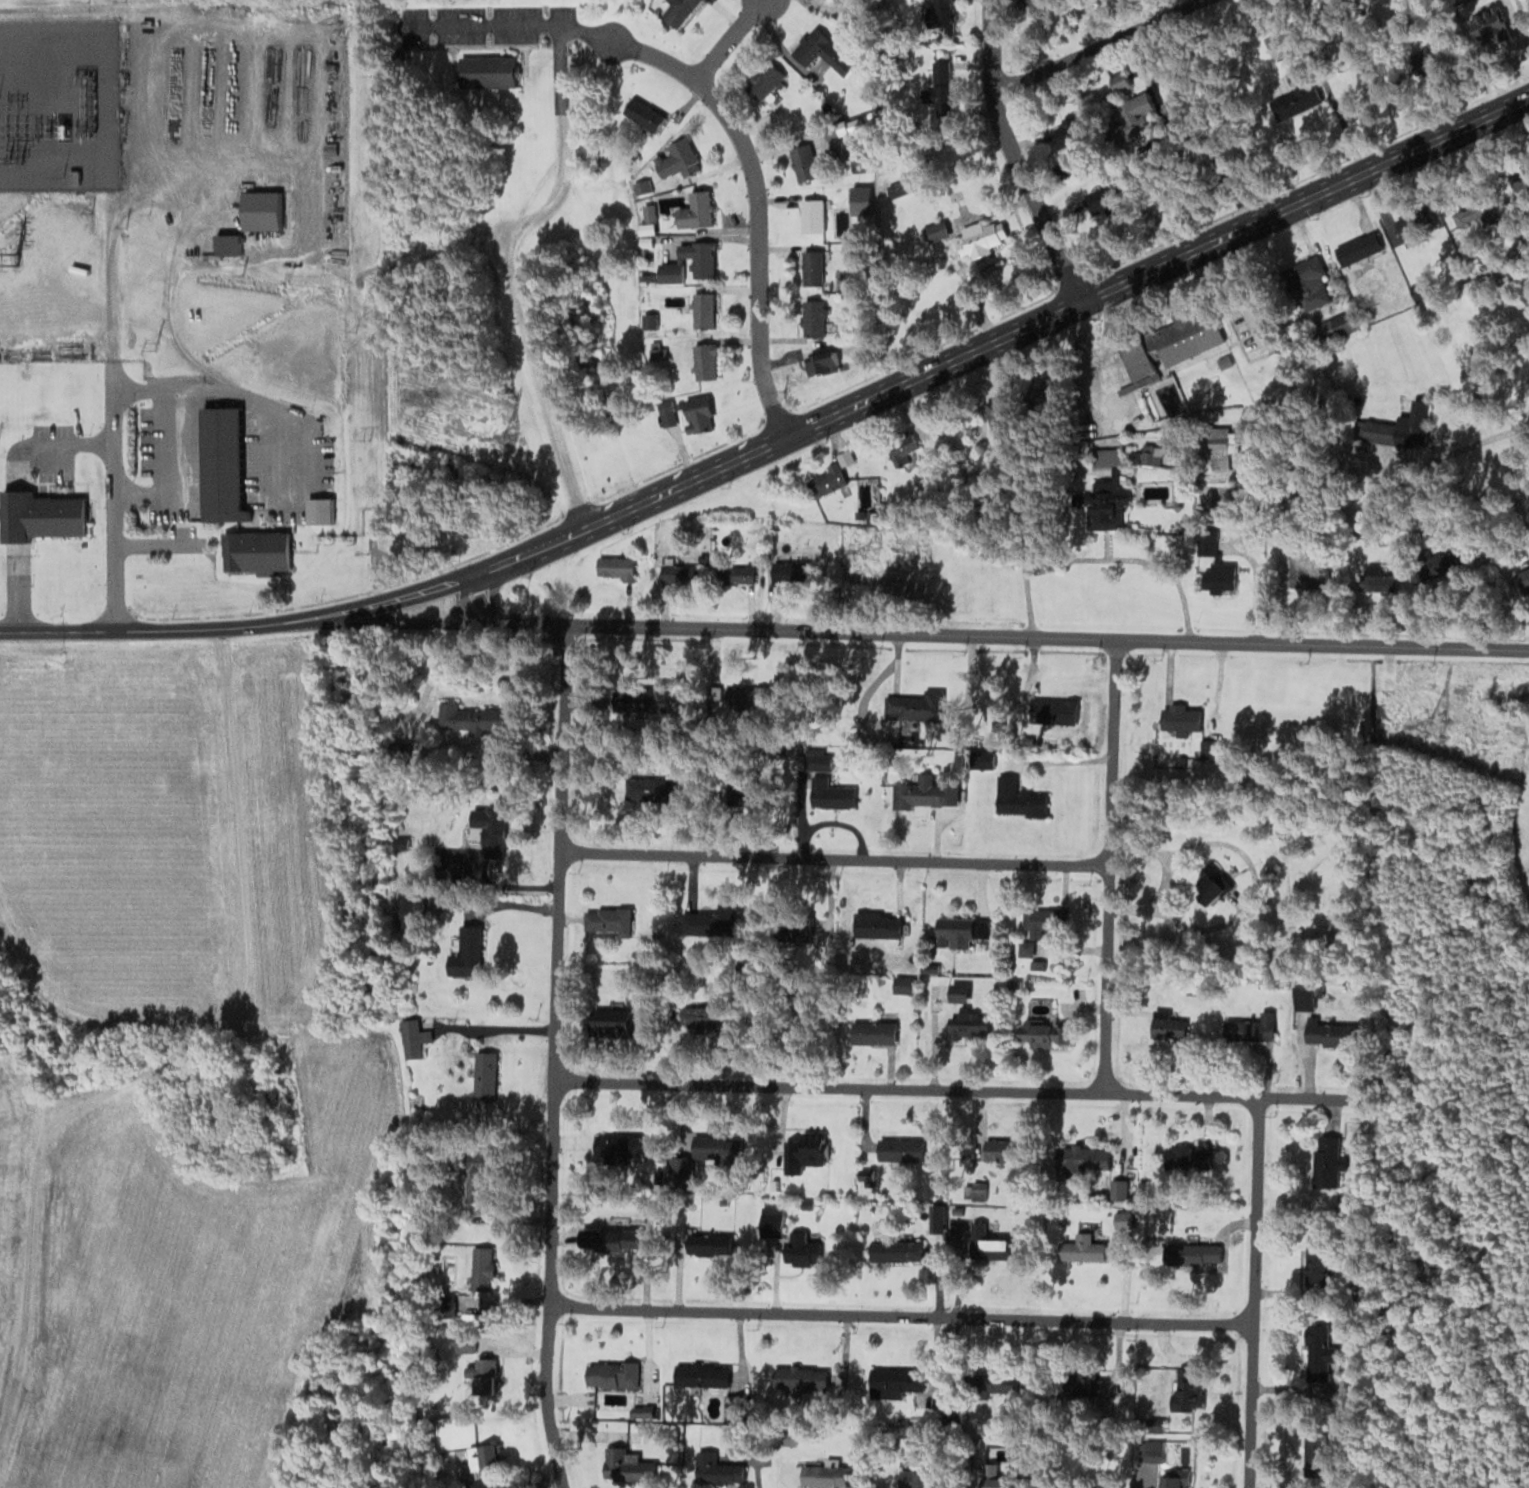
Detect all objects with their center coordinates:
building: (1028, 4)
building: (677, 11)
building: (1488, 21)
road: (723, 38)
road: (1103, 46)
building: (820, 51)
building: (486, 70)
building: (765, 81)
building: (1291, 93)
power substation: (58, 103)
road: (719, 111)
building: (642, 114)
building: (1128, 117)
building: (1066, 133)
building: (677, 159)
road: (1010, 159)
building: (806, 163)
building: (1528, 184)
building: (1100, 202)
building: (260, 210)
building: (1476, 210)
building: (695, 211)
building: (811, 216)
building: (1413, 228)
building: (932, 233)
road: (185, 234)
building: (979, 239)
building: (225, 244)
building: (1358, 249)
power tower: (17, 259)
building: (699, 259)
road: (503, 264)
building: (811, 269)
building: (1307, 282)
building: (701, 310)
road: (1057, 316)
building: (812, 318)
power tower: (365, 321)
building: (1338, 325)
building: (1188, 338)
building: (704, 362)
building: (1138, 363)
road: (198, 388)
road: (142, 389)
building: (697, 414)
building: (999, 416)
building: (1415, 423)
road: (1522, 424)
power tower: (502, 436)
power tower: (366, 437)
road: (68, 442)
building: (1220, 448)
building: (901, 450)
road: (1441, 453)
building: (220, 465)
road: (175, 468)
building: (824, 481)
building: (1098, 509)
building: (318, 510)
road: (113, 511)
building: (41, 516)
road: (154, 544)
building: (253, 551)
road: (528, 551)
power tower: (868, 551)
road: (1095, 560)
building: (615, 567)
building: (1307, 570)
building: (788, 572)
building: (678, 574)
building: (738, 574)
building: (1220, 577)
building: (1377, 577)
building: (1524, 581)
road: (17, 594)
road: (239, 628)
road: (983, 635)
building: (746, 697)
building: (638, 701)
building: (912, 704)
building: (1058, 710)
building: (469, 717)
building: (1181, 718)
power tower: (1456, 725)
building: (1210, 748)
building: (815, 770)
building: (941, 788)
building: (648, 789)
building: (747, 795)
building: (1018, 798)
building: (492, 831)
road: (1140, 847)
road: (831, 859)
road: (1106, 866)
building: (443, 873)
building: (1207, 886)
road: (1253, 890)
building: (410, 908)
building: (607, 919)
building: (1040, 922)
building: (879, 926)
building: (962, 931)
building: (1318, 942)
building: (1025, 949)
building: (465, 956)
building: (902, 989)
building: (958, 992)
building: (698, 1018)
building: (610, 1021)
building: (969, 1024)
building: (1248, 1026)
building: (1168, 1027)
building: (1042, 1032)
building: (1330, 1034)
building: (412, 1037)
road: (183, 1053)
road: (552, 1056)
building: (484, 1073)
road: (961, 1091)
building: (616, 1145)
building: (1003, 1148)
building: (805, 1149)
building: (899, 1149)
building: (1194, 1157)
building: (1083, 1158)
building: (1327, 1161)
building: (682, 1167)
building: (476, 1177)
building: (1121, 1217)
building: (770, 1220)
building: (609, 1239)
building: (712, 1242)
building: (987, 1245)
building: (802, 1246)
building: (895, 1250)
building: (1082, 1251)
building: (1317, 1264)
building: (481, 1267)
building: (446, 1271)
road: (1250, 1292)
road: (899, 1316)
building: (1318, 1351)
building: (611, 1373)
building: (701, 1374)
building: (483, 1375)
building: (799, 1377)
building: (894, 1381)
building: (1085, 1385)
building: (1186, 1388)
building: (732, 1406)
building: (1314, 1453)
building: (482, 1457)
building: (627, 1465)
building: (716, 1469)
building: (1165, 1469)
building: (827, 1475)
building: (913, 1478)

